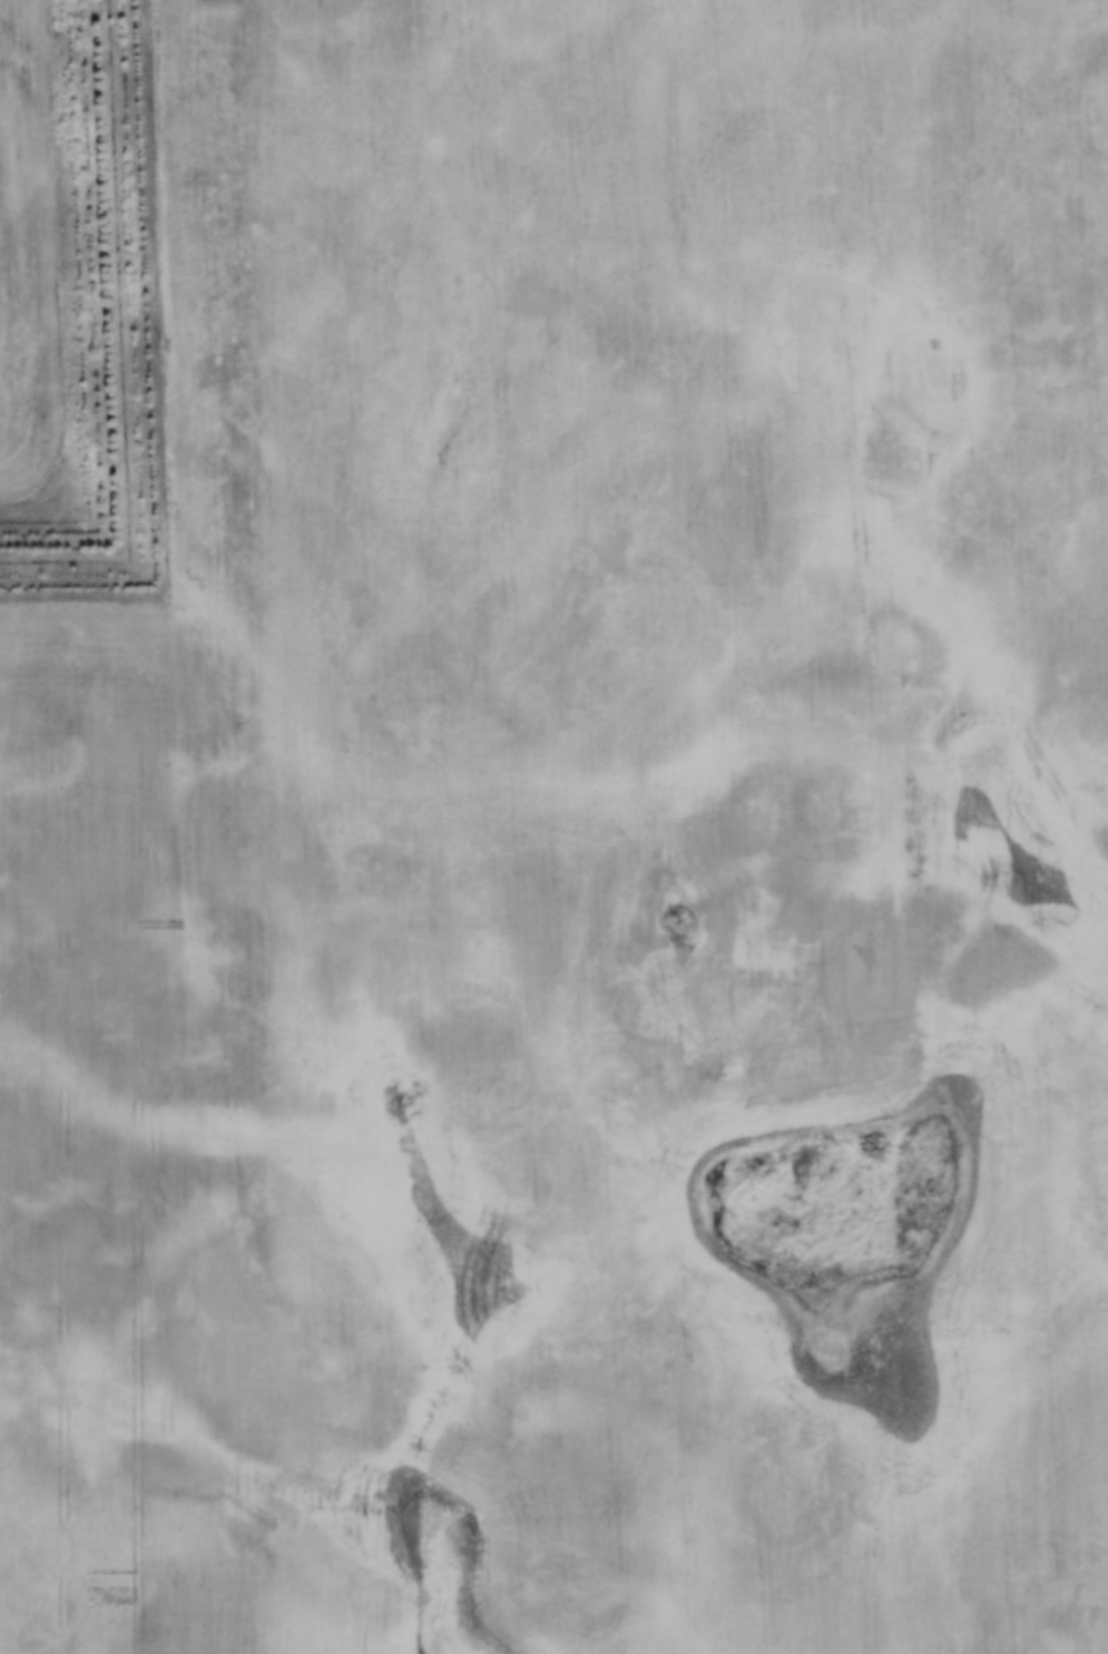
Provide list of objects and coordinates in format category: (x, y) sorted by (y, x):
road: (922, 1324)

